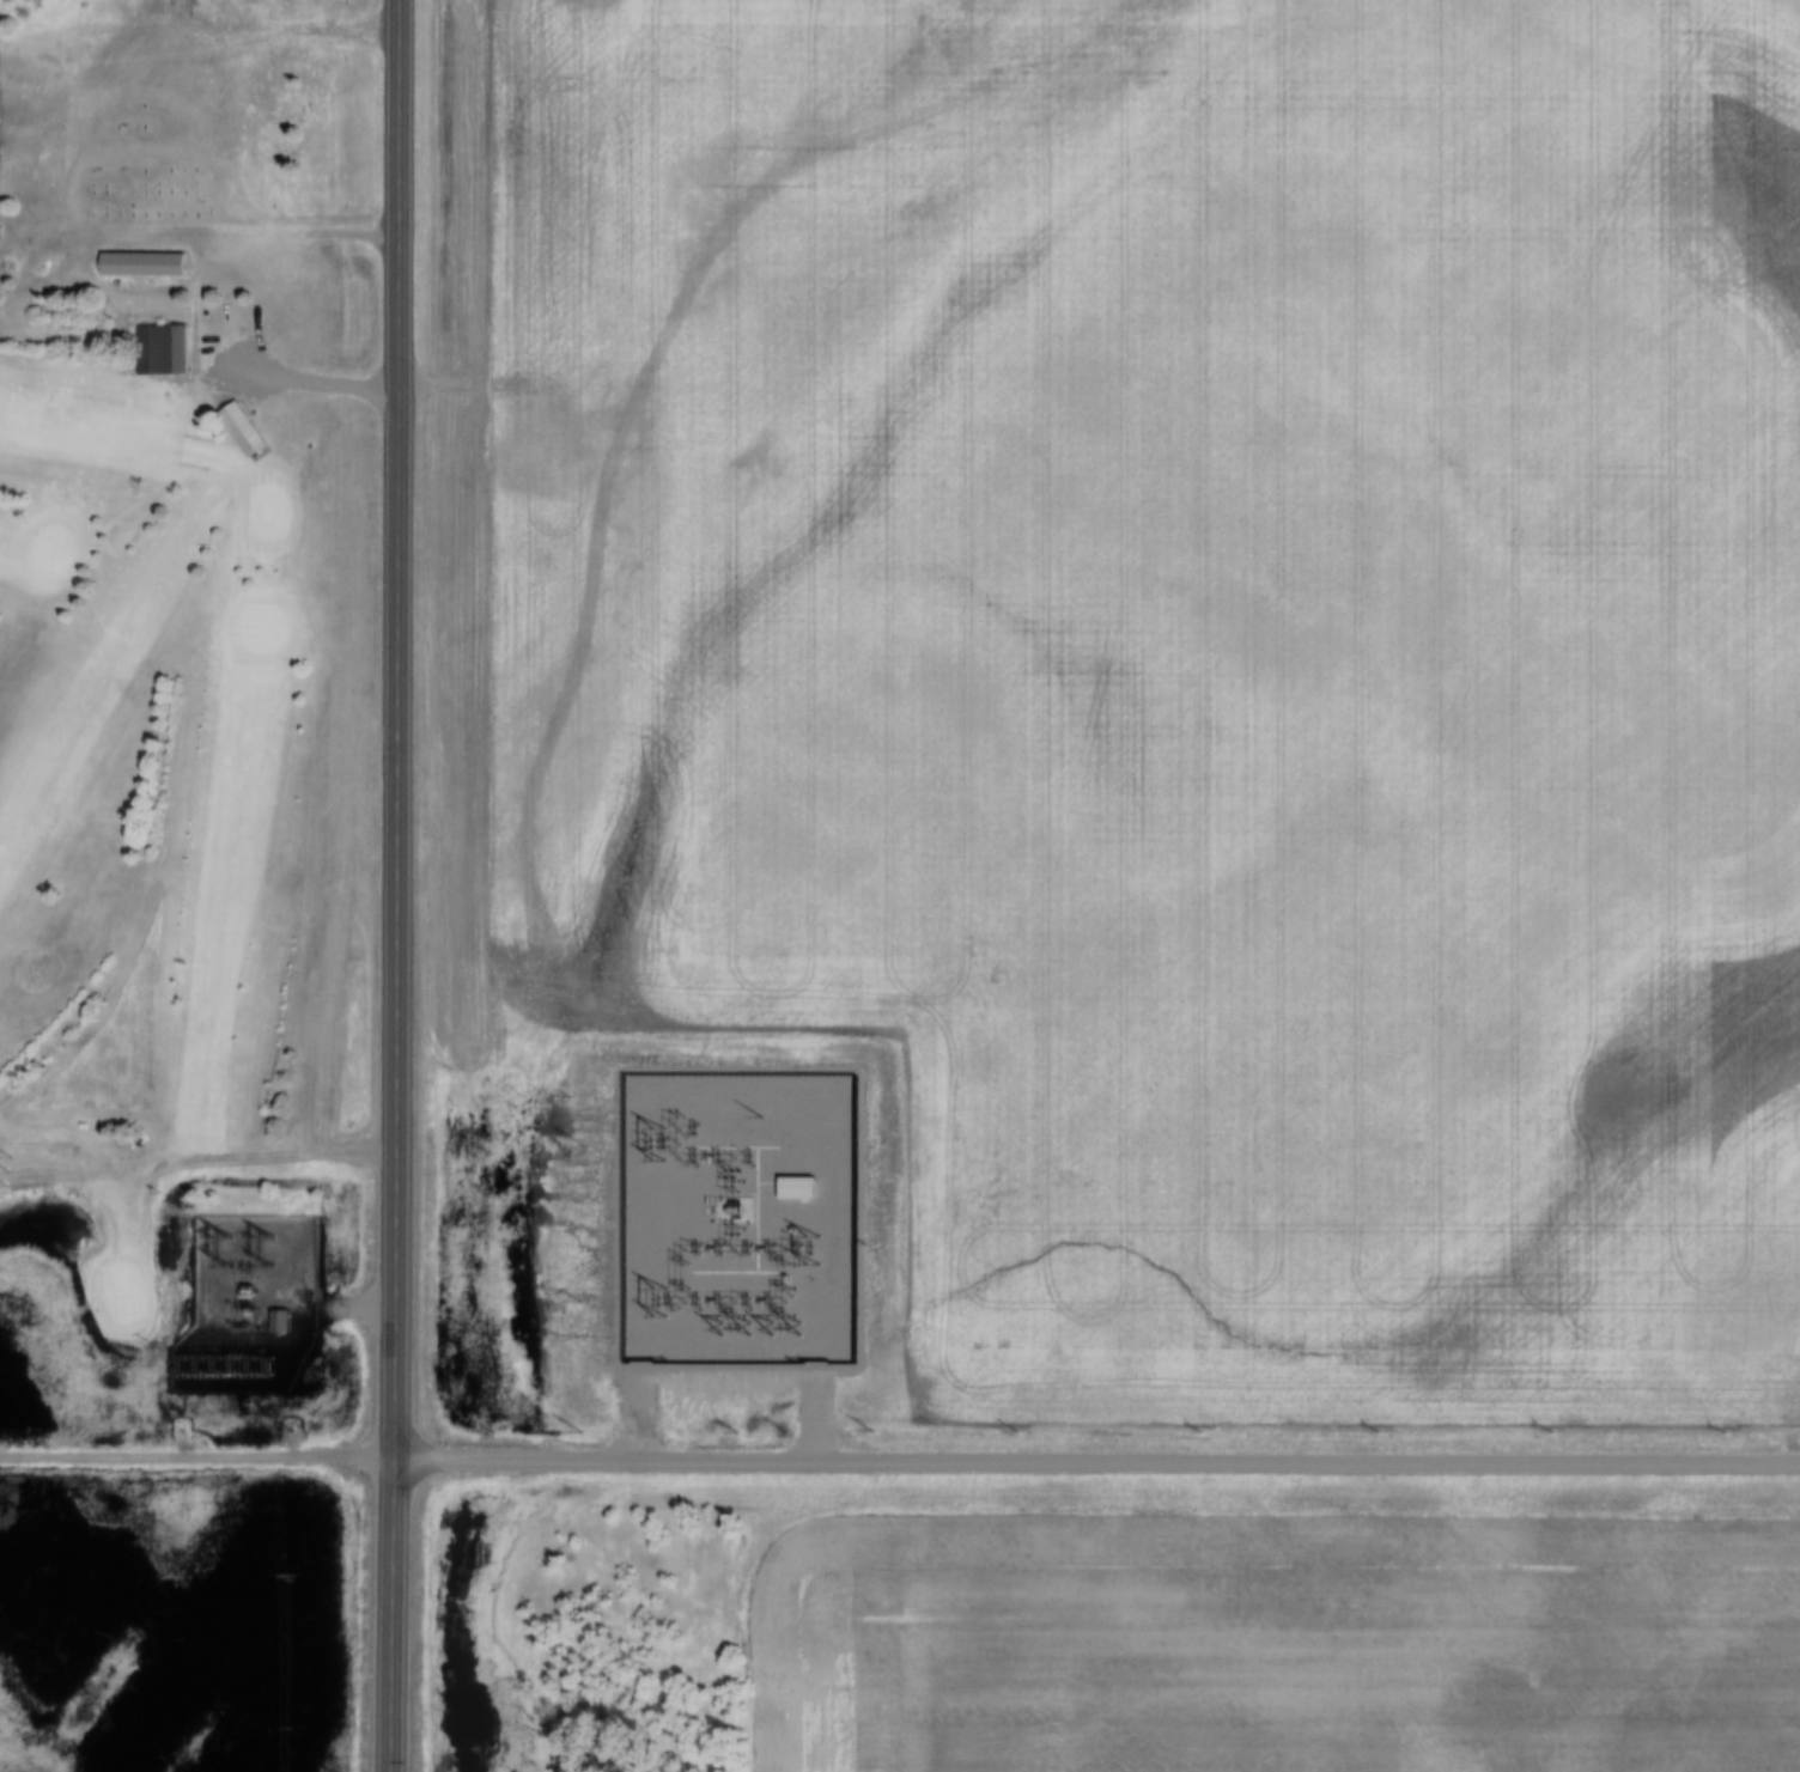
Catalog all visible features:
building: (162, 351)
building: (242, 427)
road: (406, 885)
power substation: (249, 1303)
road: (900, 1467)

